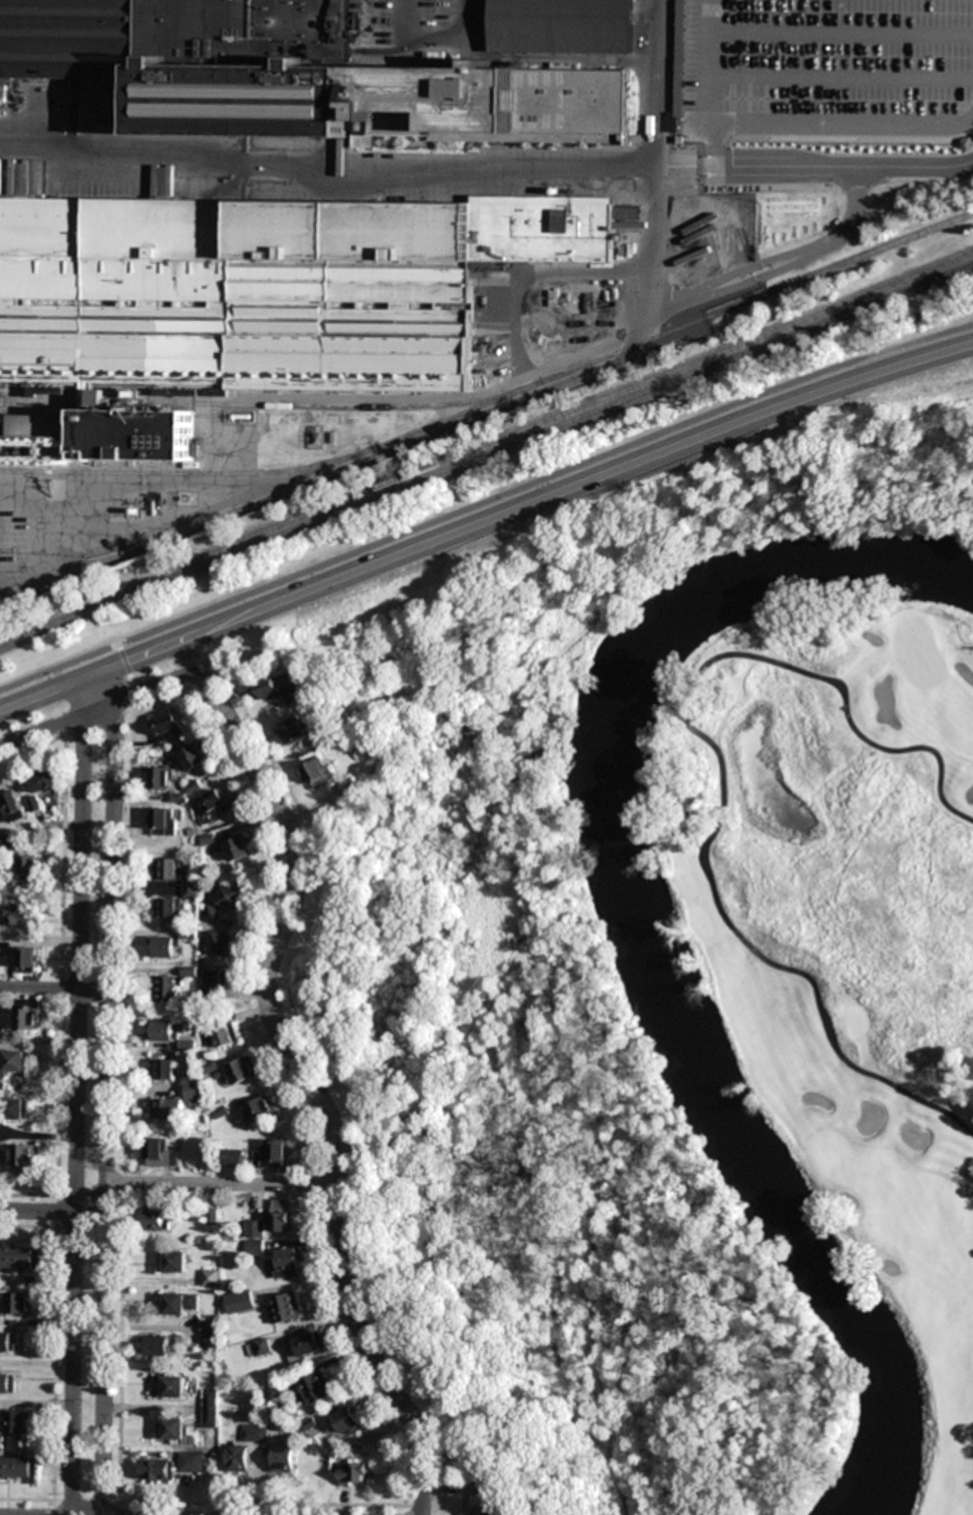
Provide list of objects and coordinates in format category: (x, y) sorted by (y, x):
building: (561, 27)
road: (842, 34)
parking lot: (826, 70)
building: (298, 74)
road: (803, 76)
road: (813, 134)
road: (716, 150)
road: (410, 162)
road: (679, 165)
road: (838, 166)
building: (266, 287)
railway: (683, 327)
road: (898, 362)
road: (530, 375)
railway: (358, 407)
railway: (569, 410)
railway: (486, 454)
railway: (199, 471)
road: (326, 477)
road: (485, 496)
railway: (246, 499)
road: (411, 545)
parking lot: (6, 550)
road: (210, 647)
park: (916, 652)
building: (265, 690)
building: (293, 693)
road: (99, 709)
building: (167, 726)
building: (293, 731)
road: (863, 743)
building: (194, 758)
building: (319, 772)
building: (158, 777)
building: (42, 780)
building: (349, 786)
building: (213, 801)
building: (12, 806)
building: (164, 821)
building: (238, 849)
building: (28, 867)
building: (167, 868)
building: (191, 888)
building: (232, 896)
building: (169, 907)
building: (212, 913)
building: (20, 916)
river: (632, 928)
park: (846, 934)
building: (222, 943)
building: (164, 946)
building: (26, 960)
road: (776, 968)
building: (215, 979)
road: (40, 987)
road: (96, 987)
building: (166, 988)
park: (563, 998)
building: (27, 1014)
building: (162, 1030)
building: (221, 1032)
building: (14, 1062)
building: (165, 1069)
building: (241, 1071)
road: (309, 1084)
road: (109, 1087)
road: (78, 1094)
building: (178, 1101)
building: (17, 1109)
building: (260, 1109)
building: (274, 1153)
building: (161, 1154)
building: (24, 1156)
building: (233, 1158)
road: (223, 1184)
road: (54, 1210)
building: (280, 1215)
building: (157, 1219)
building: (254, 1237)
building: (19, 1257)
building: (175, 1262)
building: (288, 1262)
building: (250, 1298)
building: (19, 1303)
building: (181, 1303)
building: (285, 1307)
building: (209, 1328)
building: (8, 1341)
building: (310, 1343)
building: (157, 1345)
building: (262, 1346)
building: (8, 1382)
building: (173, 1386)
building: (318, 1387)
building: (276, 1392)
building: (211, 1408)
building: (348, 1420)
building: (16, 1421)
building: (173, 1429)
building: (255, 1432)
building: (1, 1442)
building: (238, 1458)
building: (283, 1459)
building: (192, 1461)
building: (18, 1468)
building: (158, 1469)
building: (353, 1473)
building: (483, 1504)

